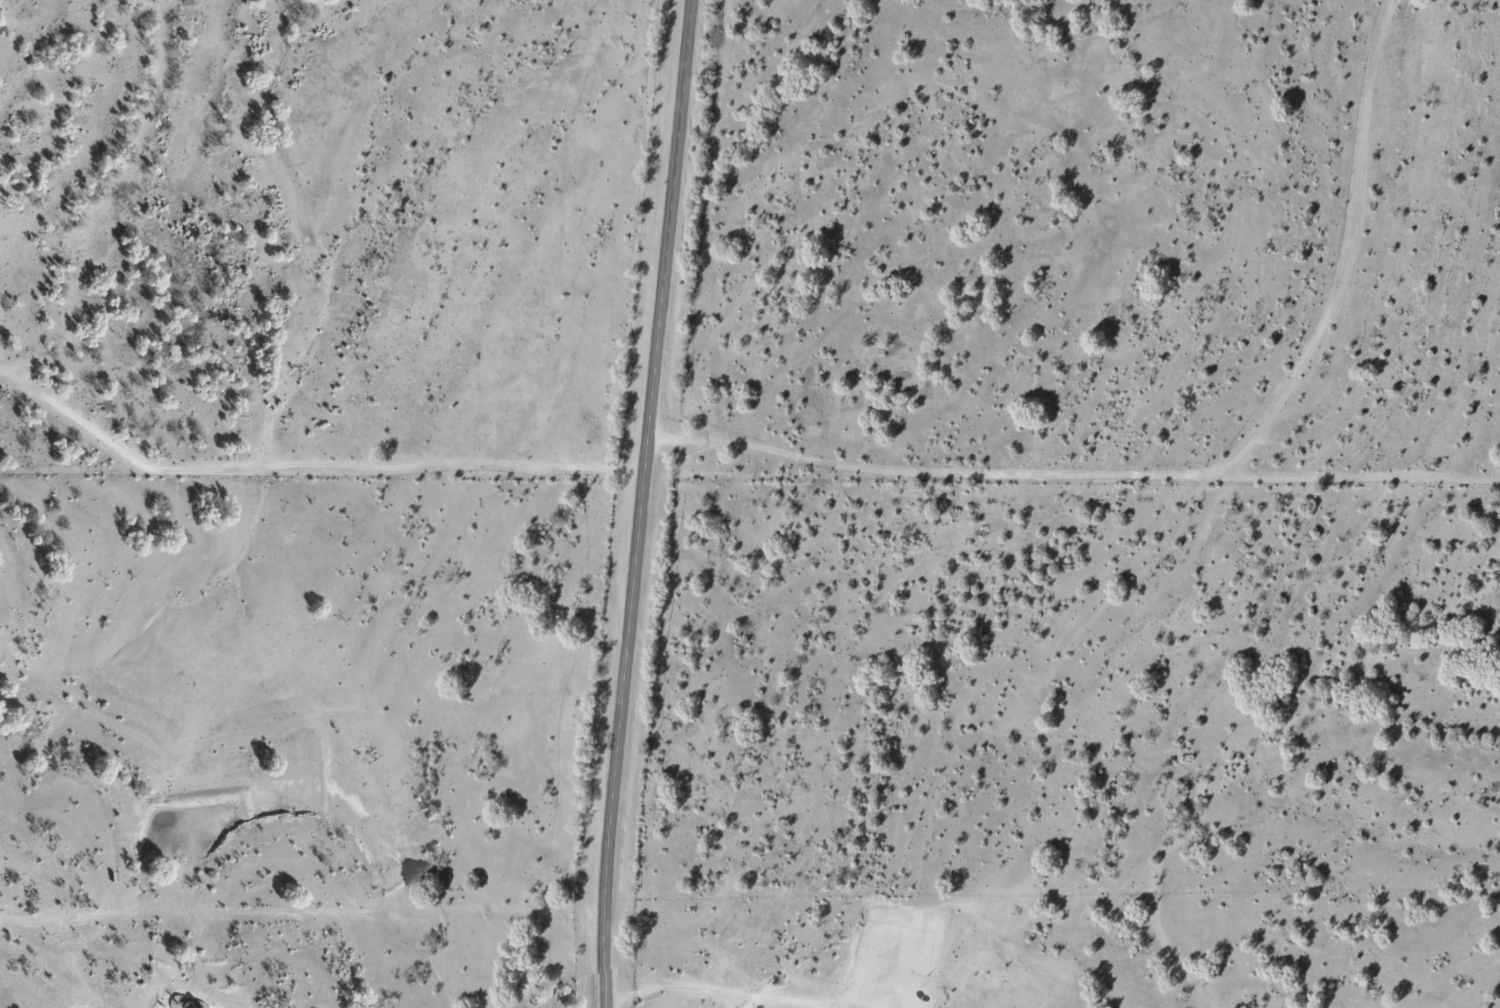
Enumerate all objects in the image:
road: (314, 477)
road: (647, 503)
road: (303, 916)
road: (712, 998)

